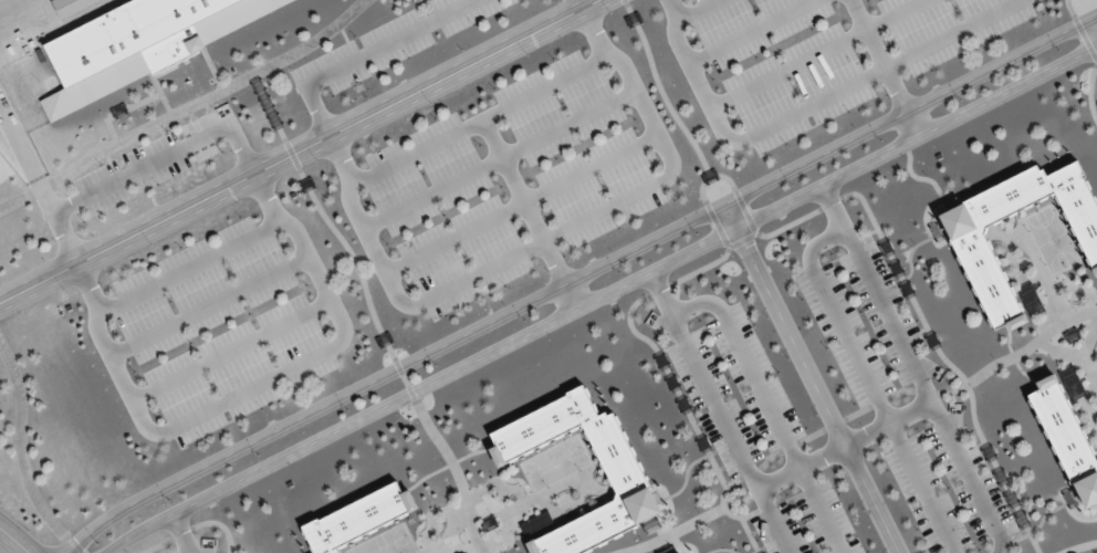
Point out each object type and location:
building: (67, 4)
building: (145, 39)
road: (915, 121)
road: (295, 150)
building: (974, 249)
road: (578, 275)
road: (574, 293)
road: (598, 295)
building: (1028, 299)
road: (813, 377)
building: (1070, 382)
building: (1066, 438)
building: (627, 482)
building: (357, 518)
road: (15, 539)
road: (1079, 546)

